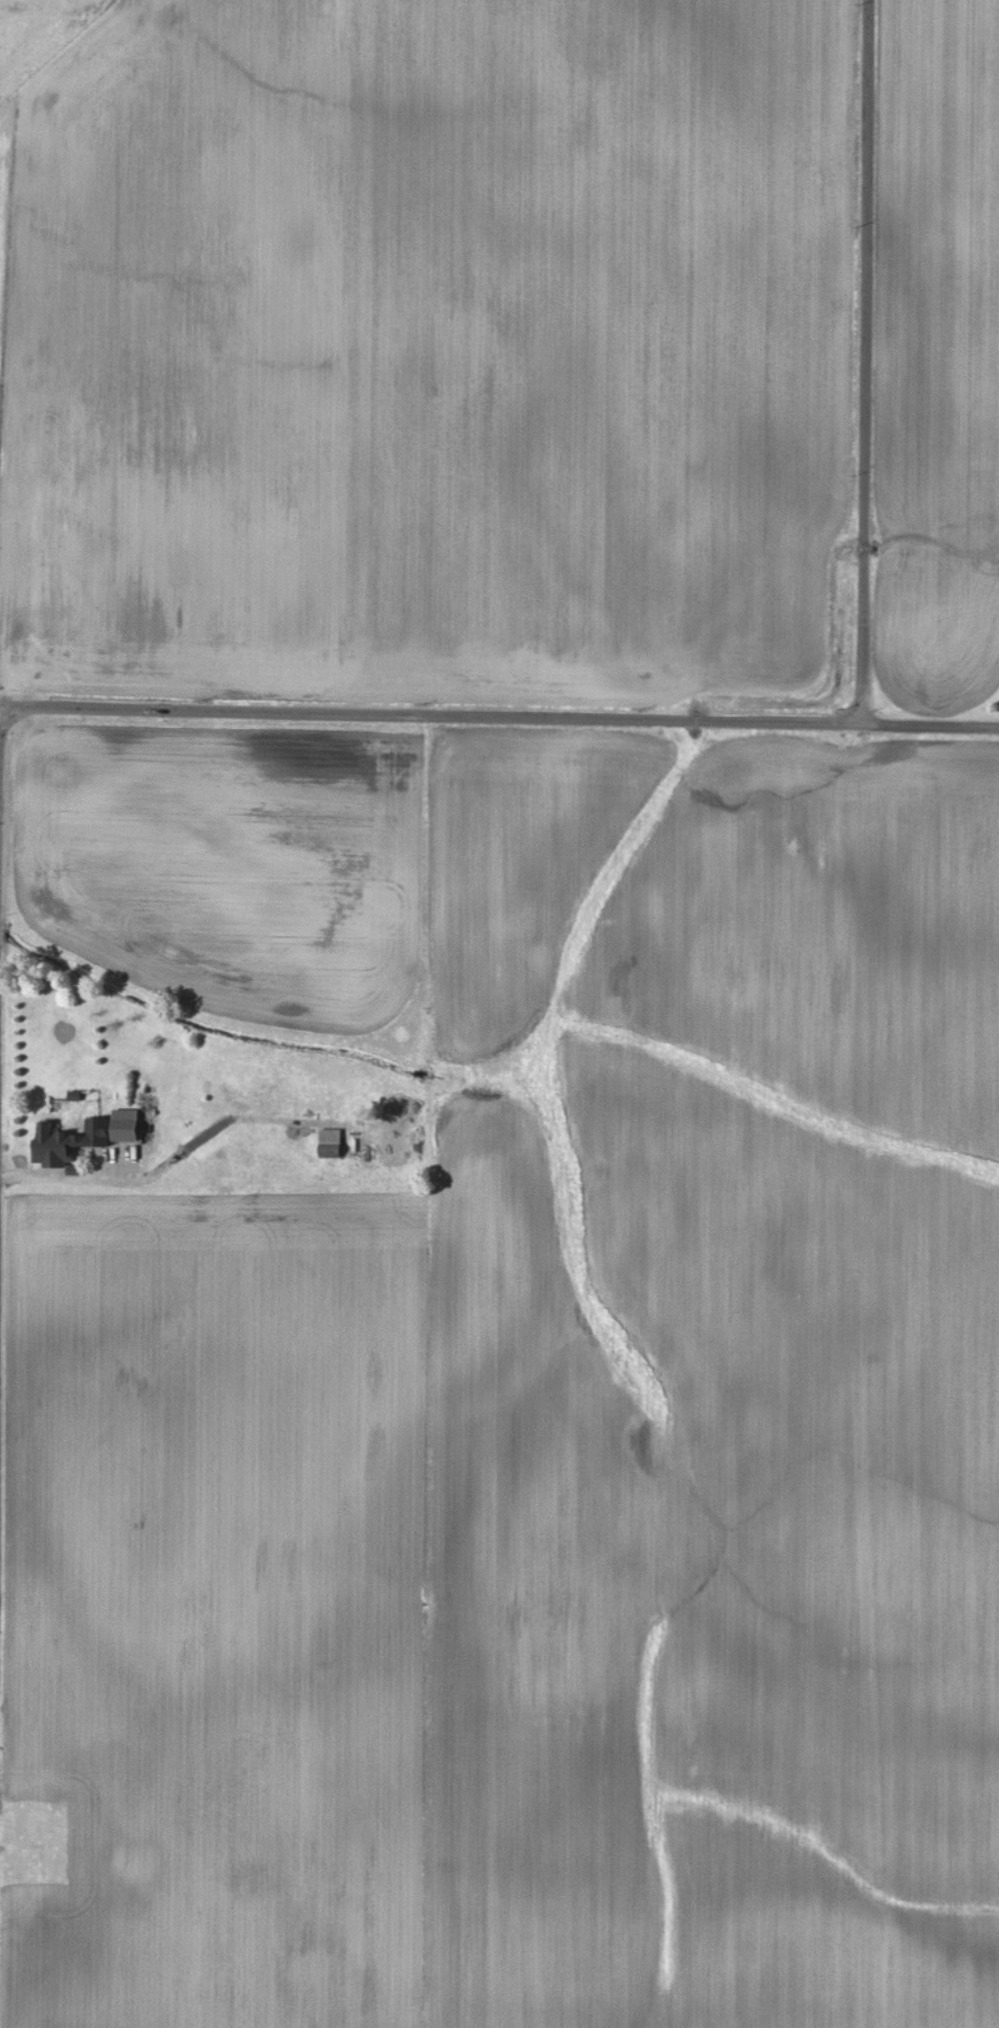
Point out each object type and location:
road: (864, 363)
road: (428, 713)
road: (927, 727)
building: (123, 1125)
building: (67, 1141)
building: (329, 1143)
road: (61, 1177)

